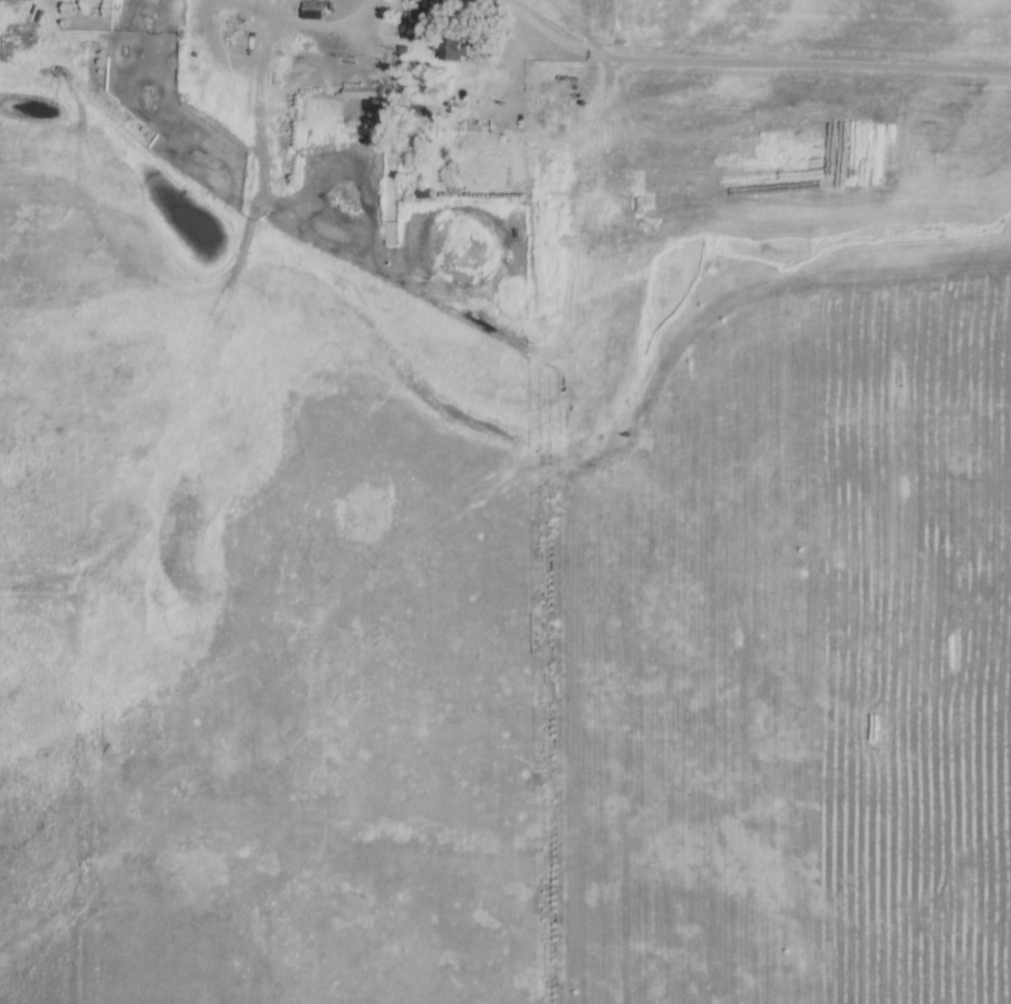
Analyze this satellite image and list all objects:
road: (419, 13)
building: (415, 28)
building: (450, 48)
road: (748, 61)
building: (422, 194)
building: (389, 233)

